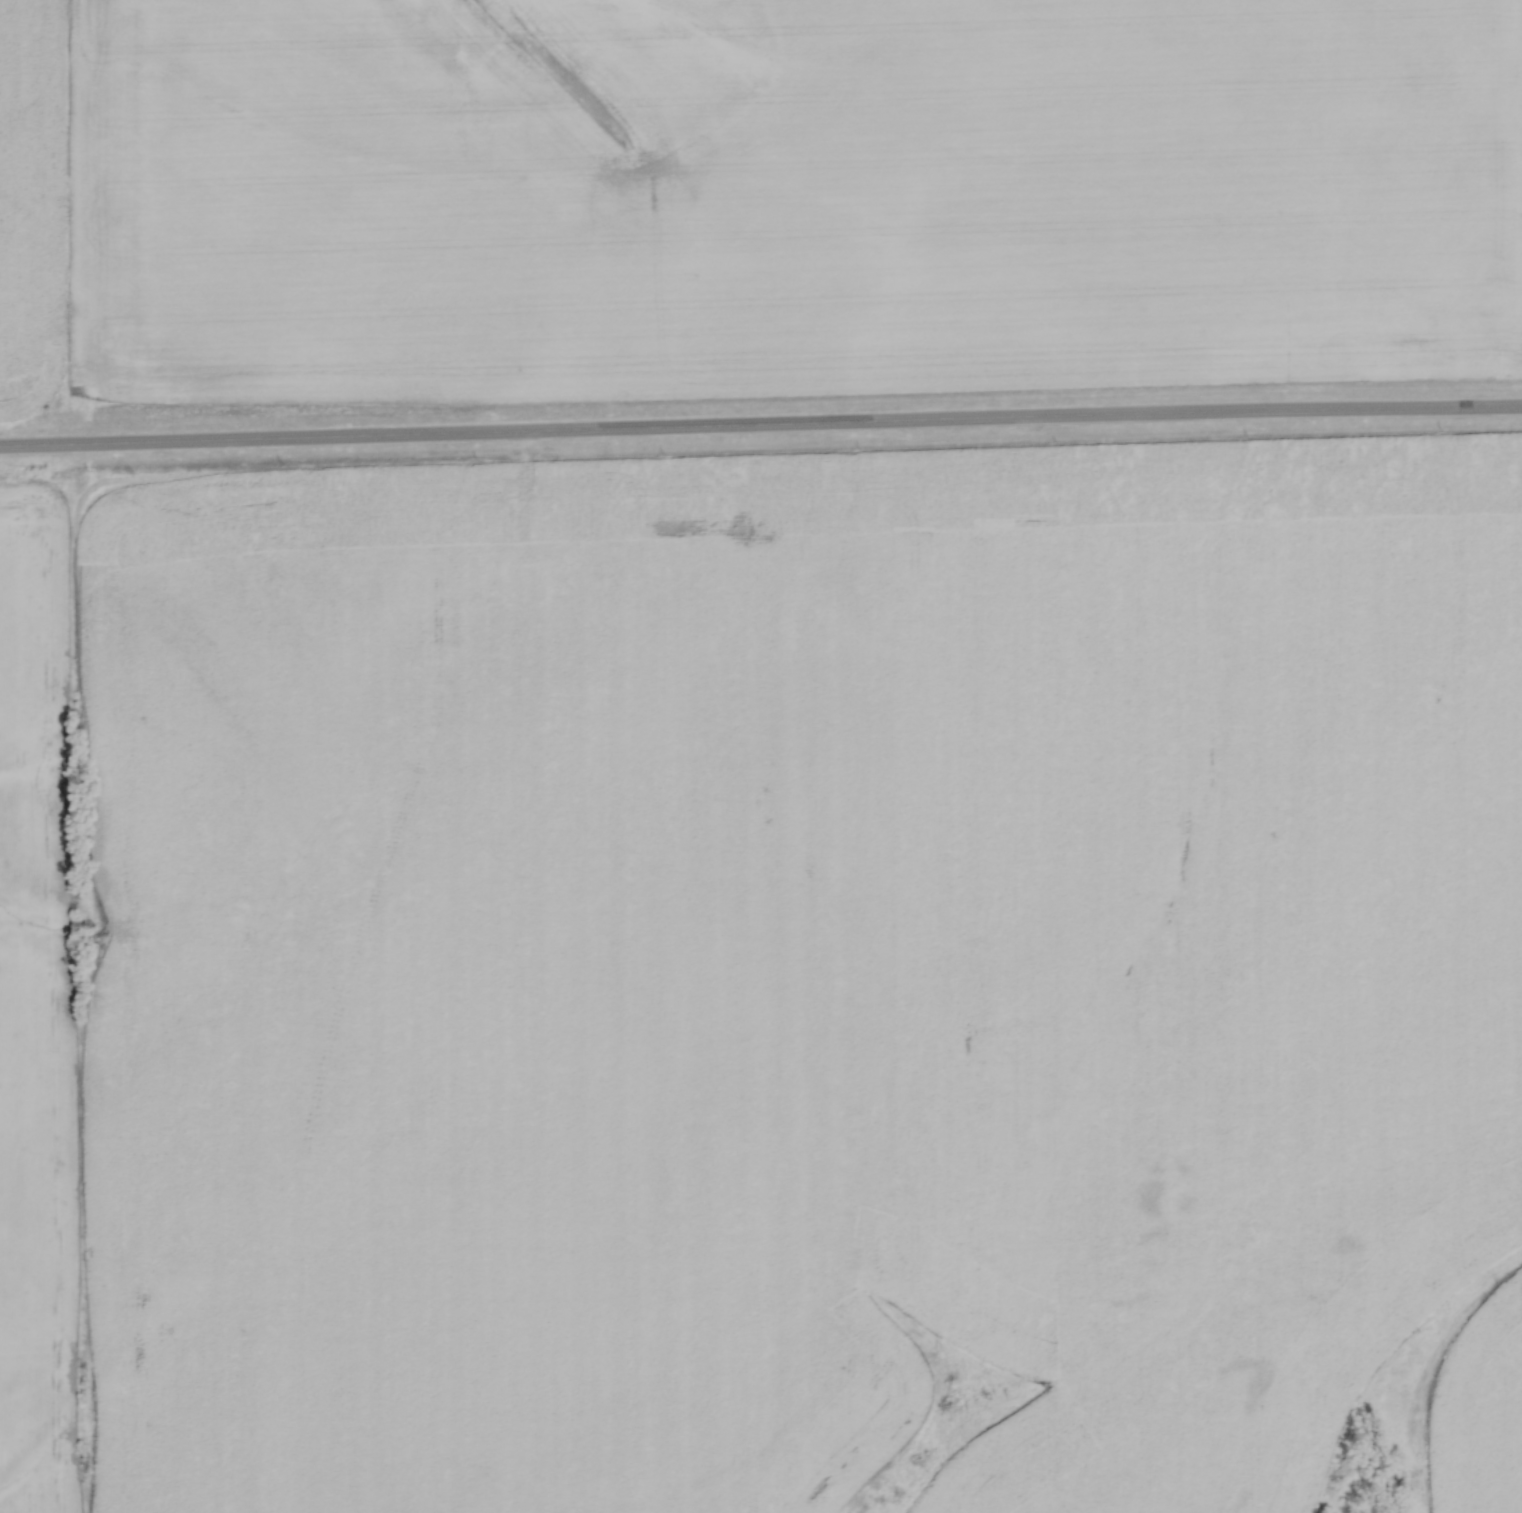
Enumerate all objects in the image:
crop: (28, 201)
road: (761, 427)

